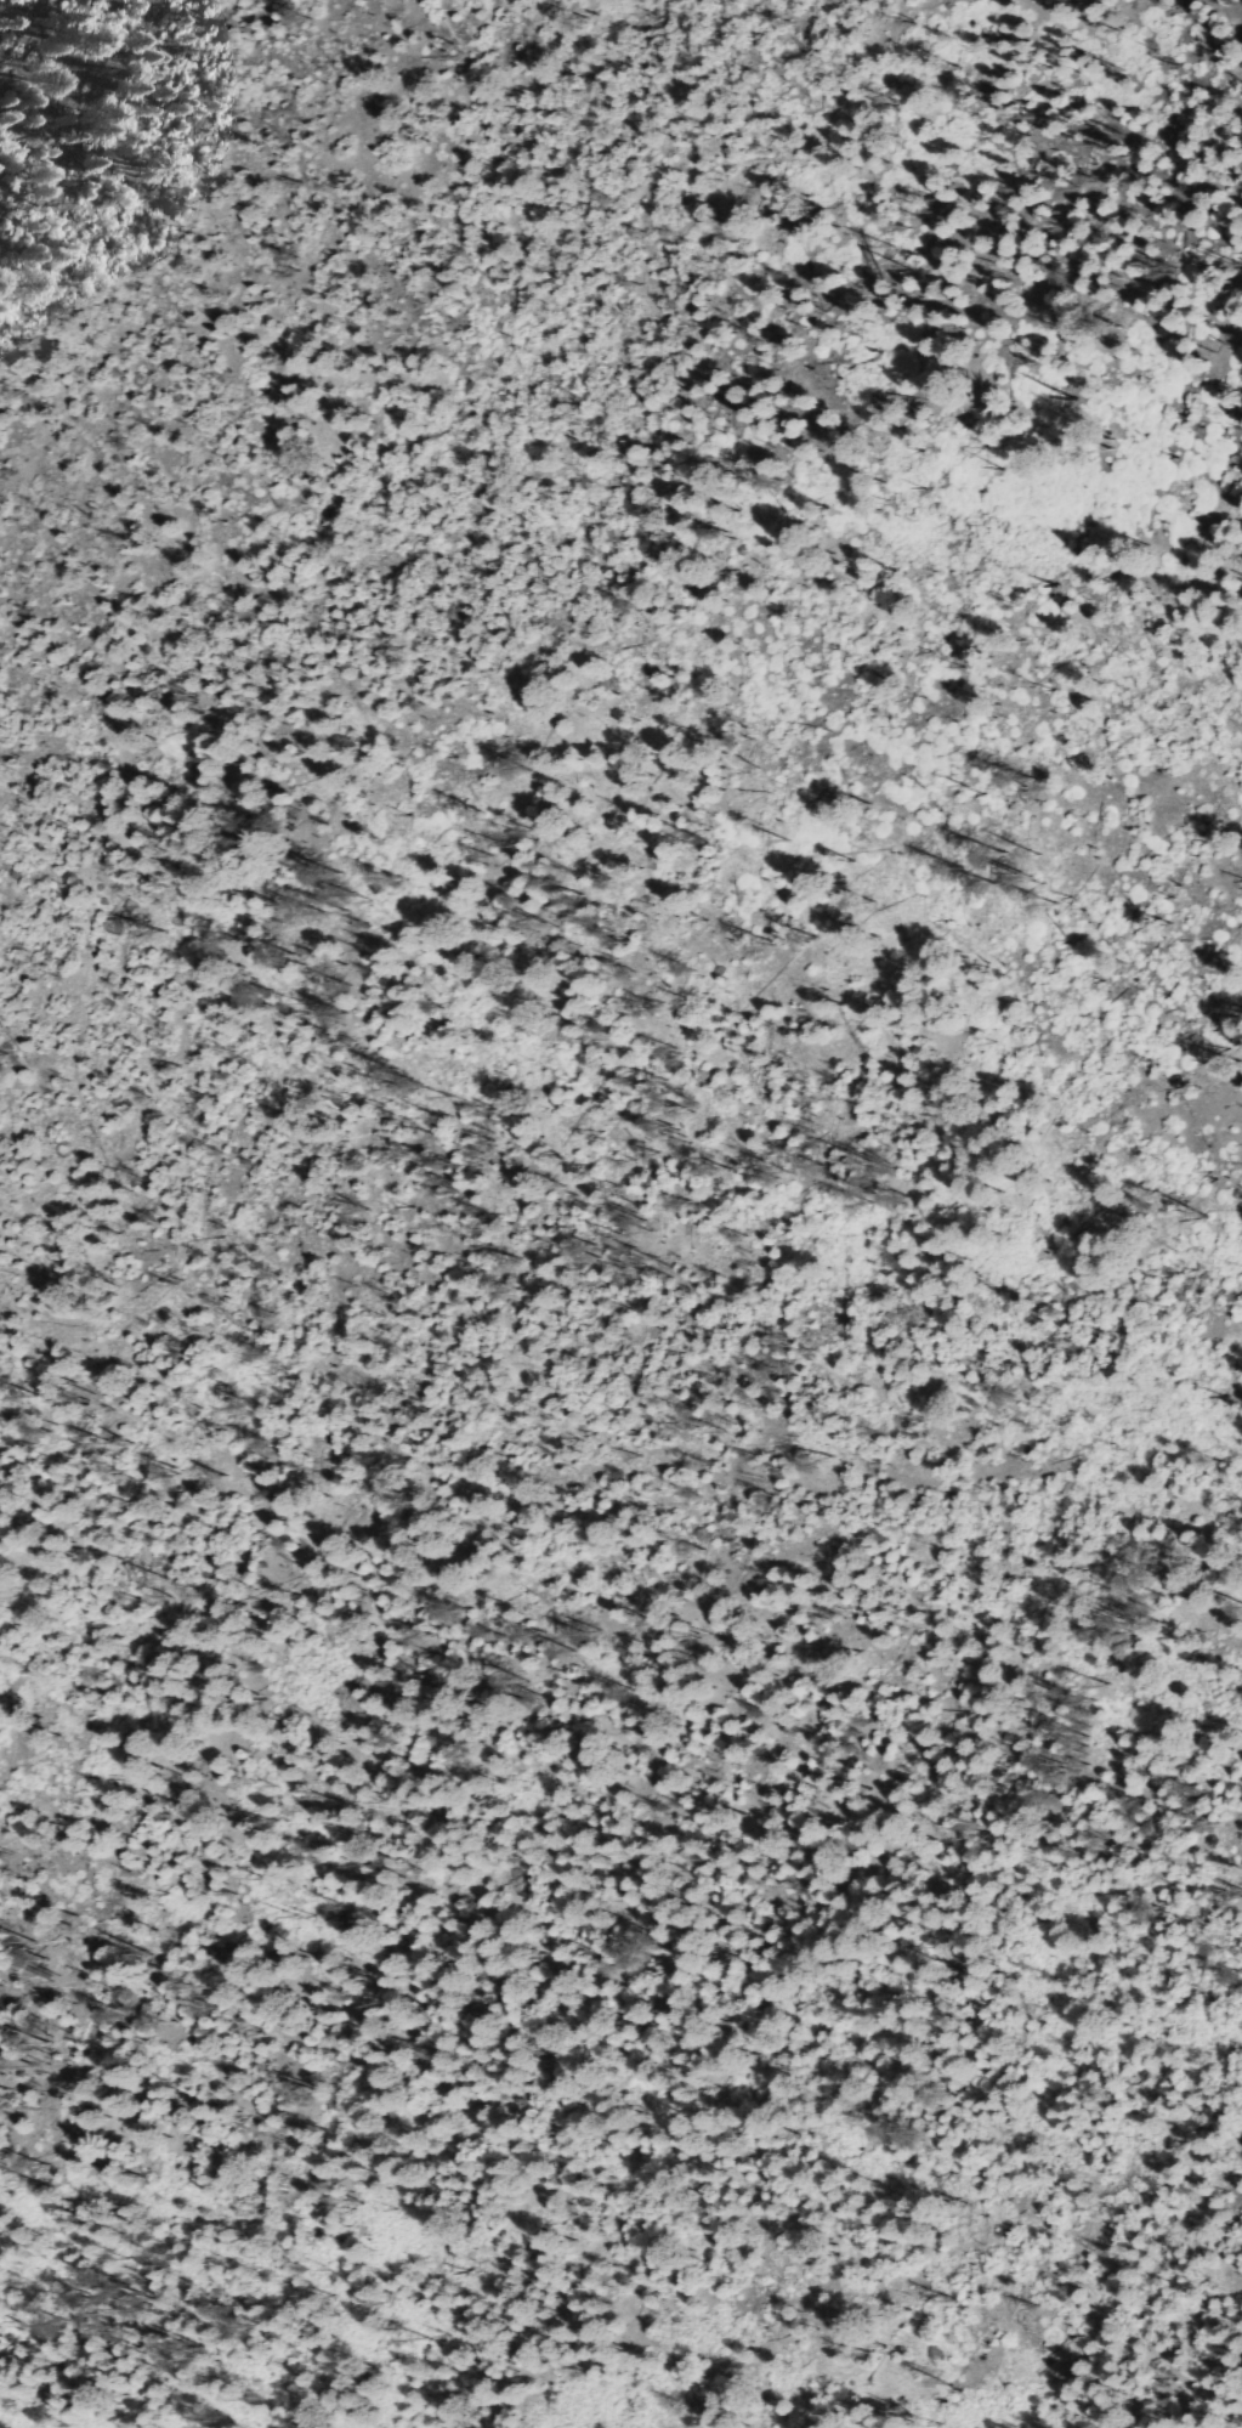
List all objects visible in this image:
road: (155, 711)

